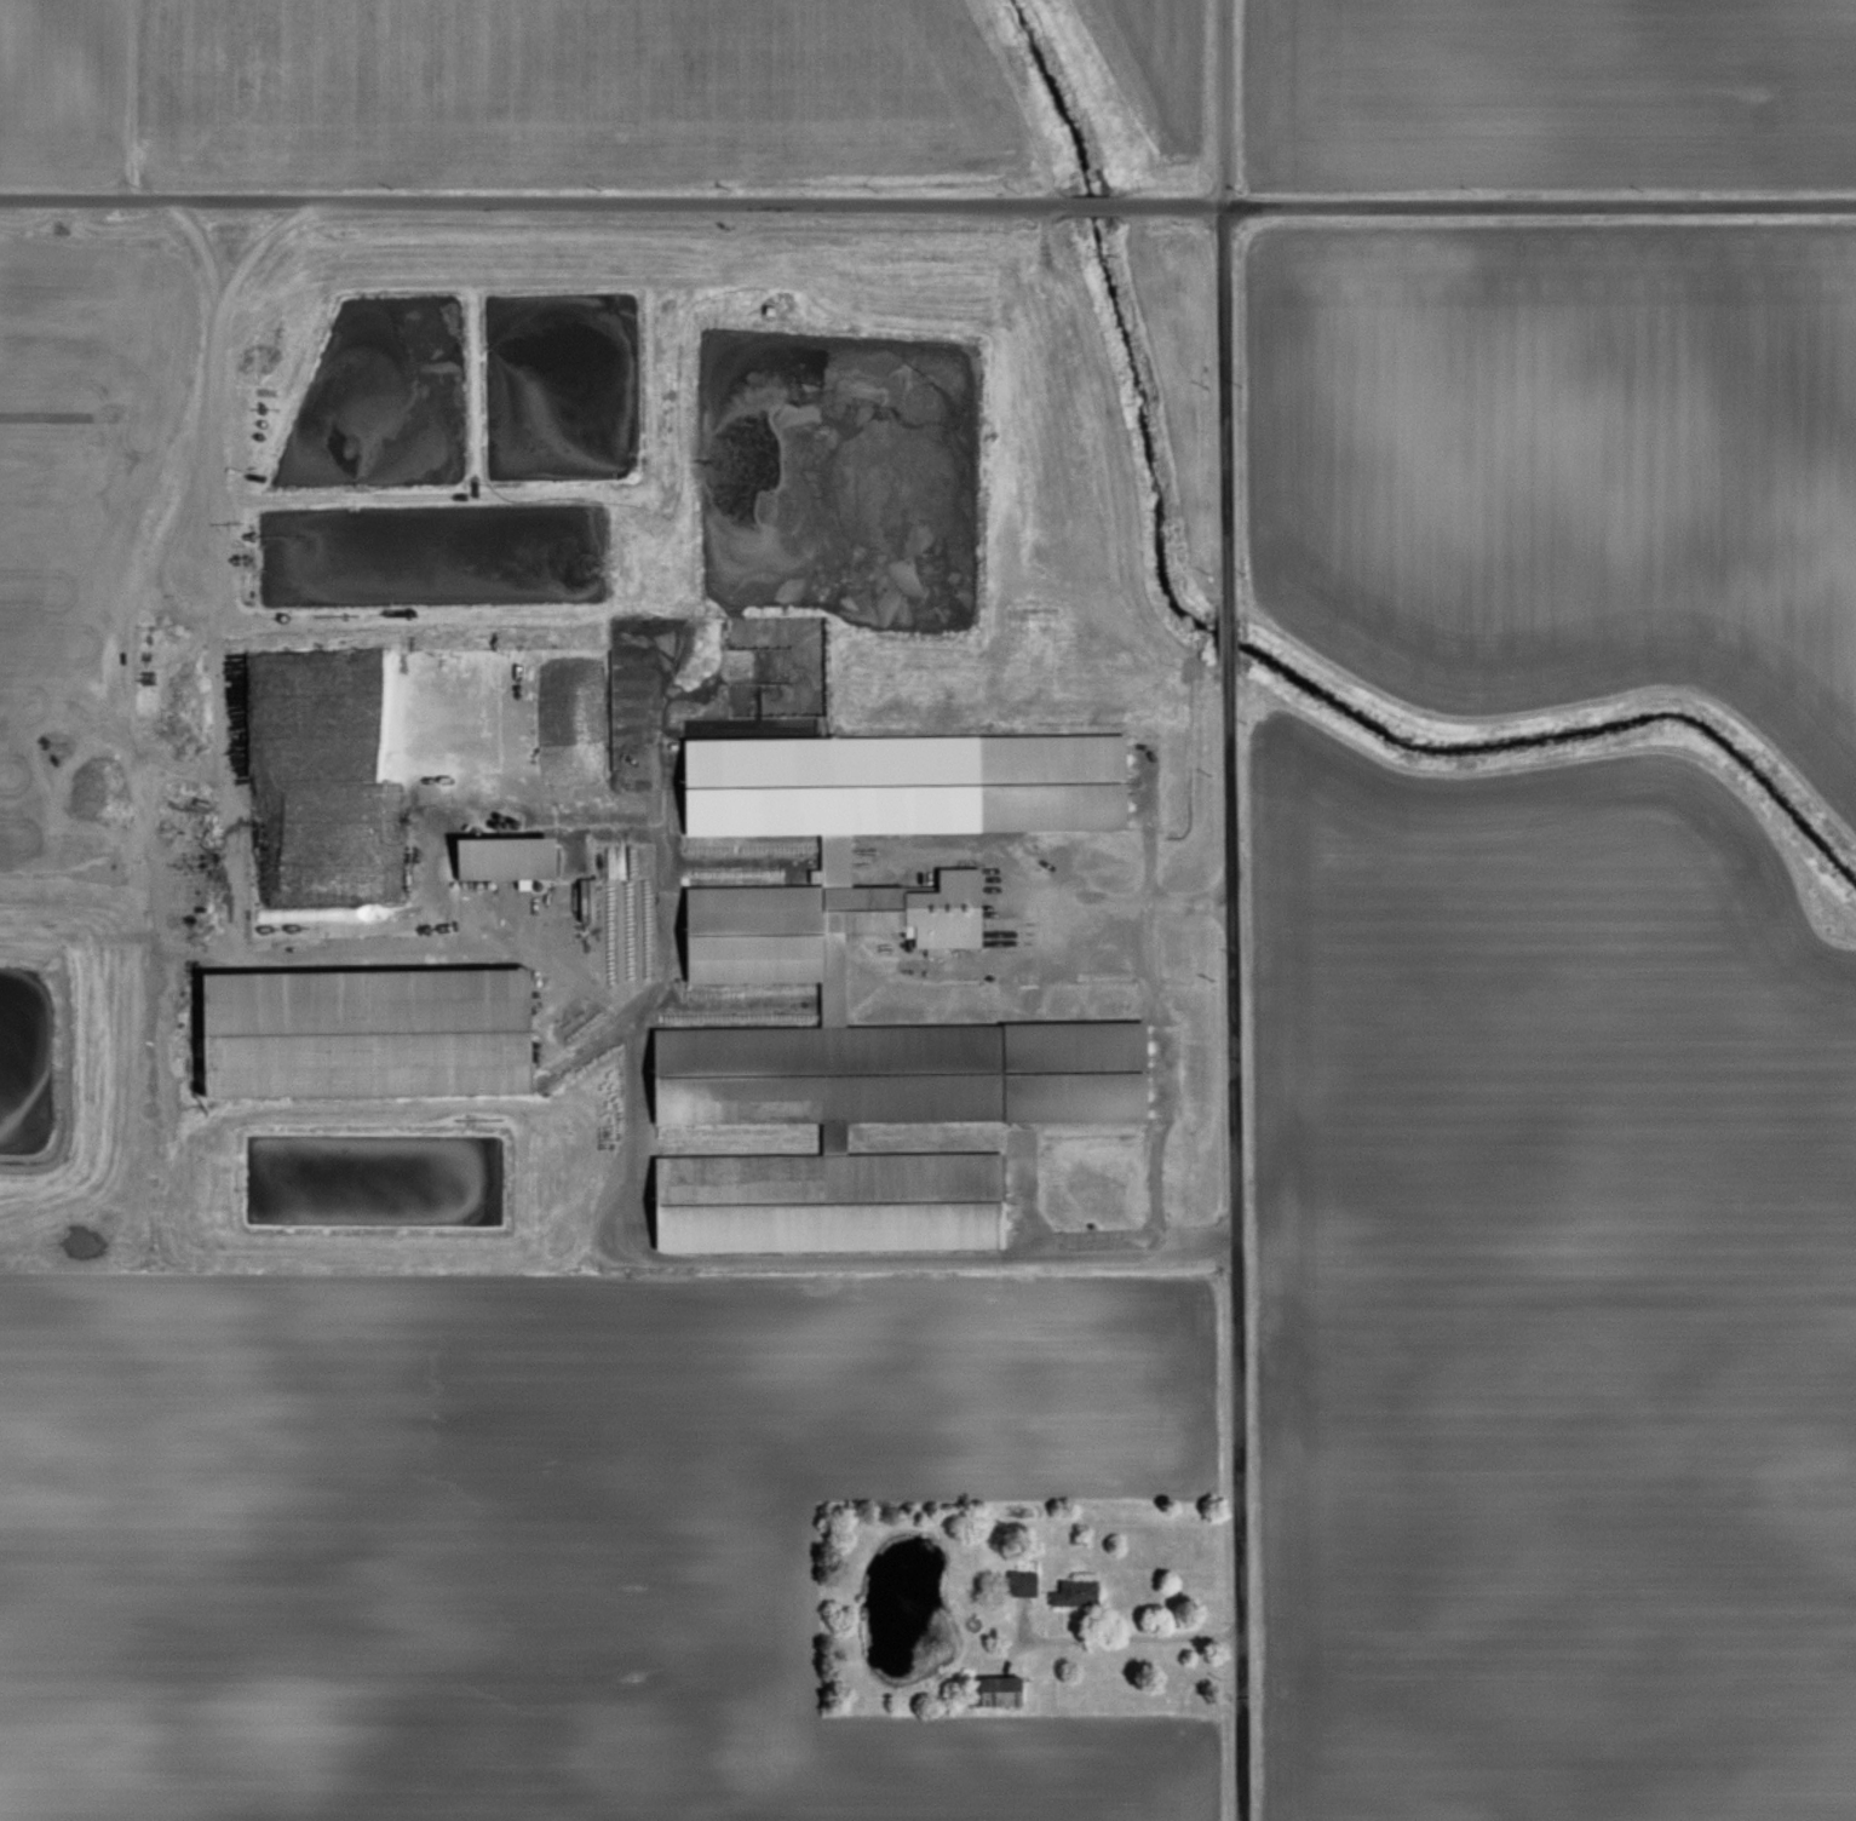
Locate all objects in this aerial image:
road: (927, 201)
road: (1219, 314)
road: (211, 569)
road: (1224, 642)
building: (510, 855)
building: (586, 896)
road: (1136, 900)
building: (832, 999)
road: (1166, 1107)
road: (626, 1185)
road: (1231, 1237)
building: (1021, 1580)
building: (1074, 1591)
road: (1122, 1632)
building: (1004, 1695)

